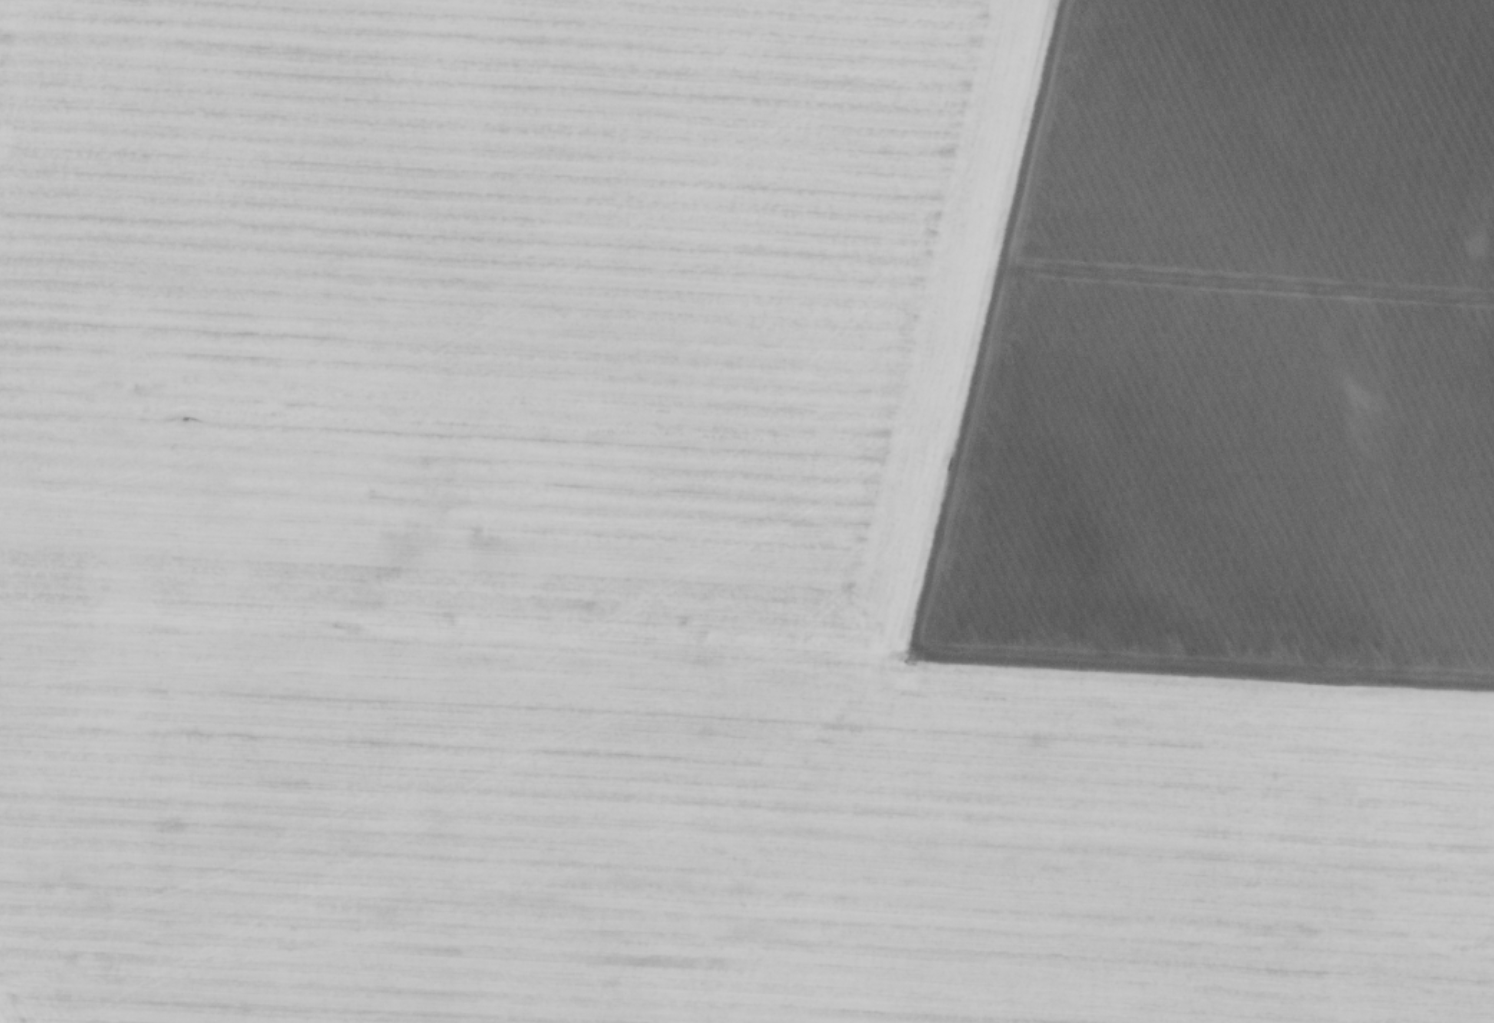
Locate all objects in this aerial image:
road: (1114, 273)
crop: (747, 511)
road: (995, 661)

